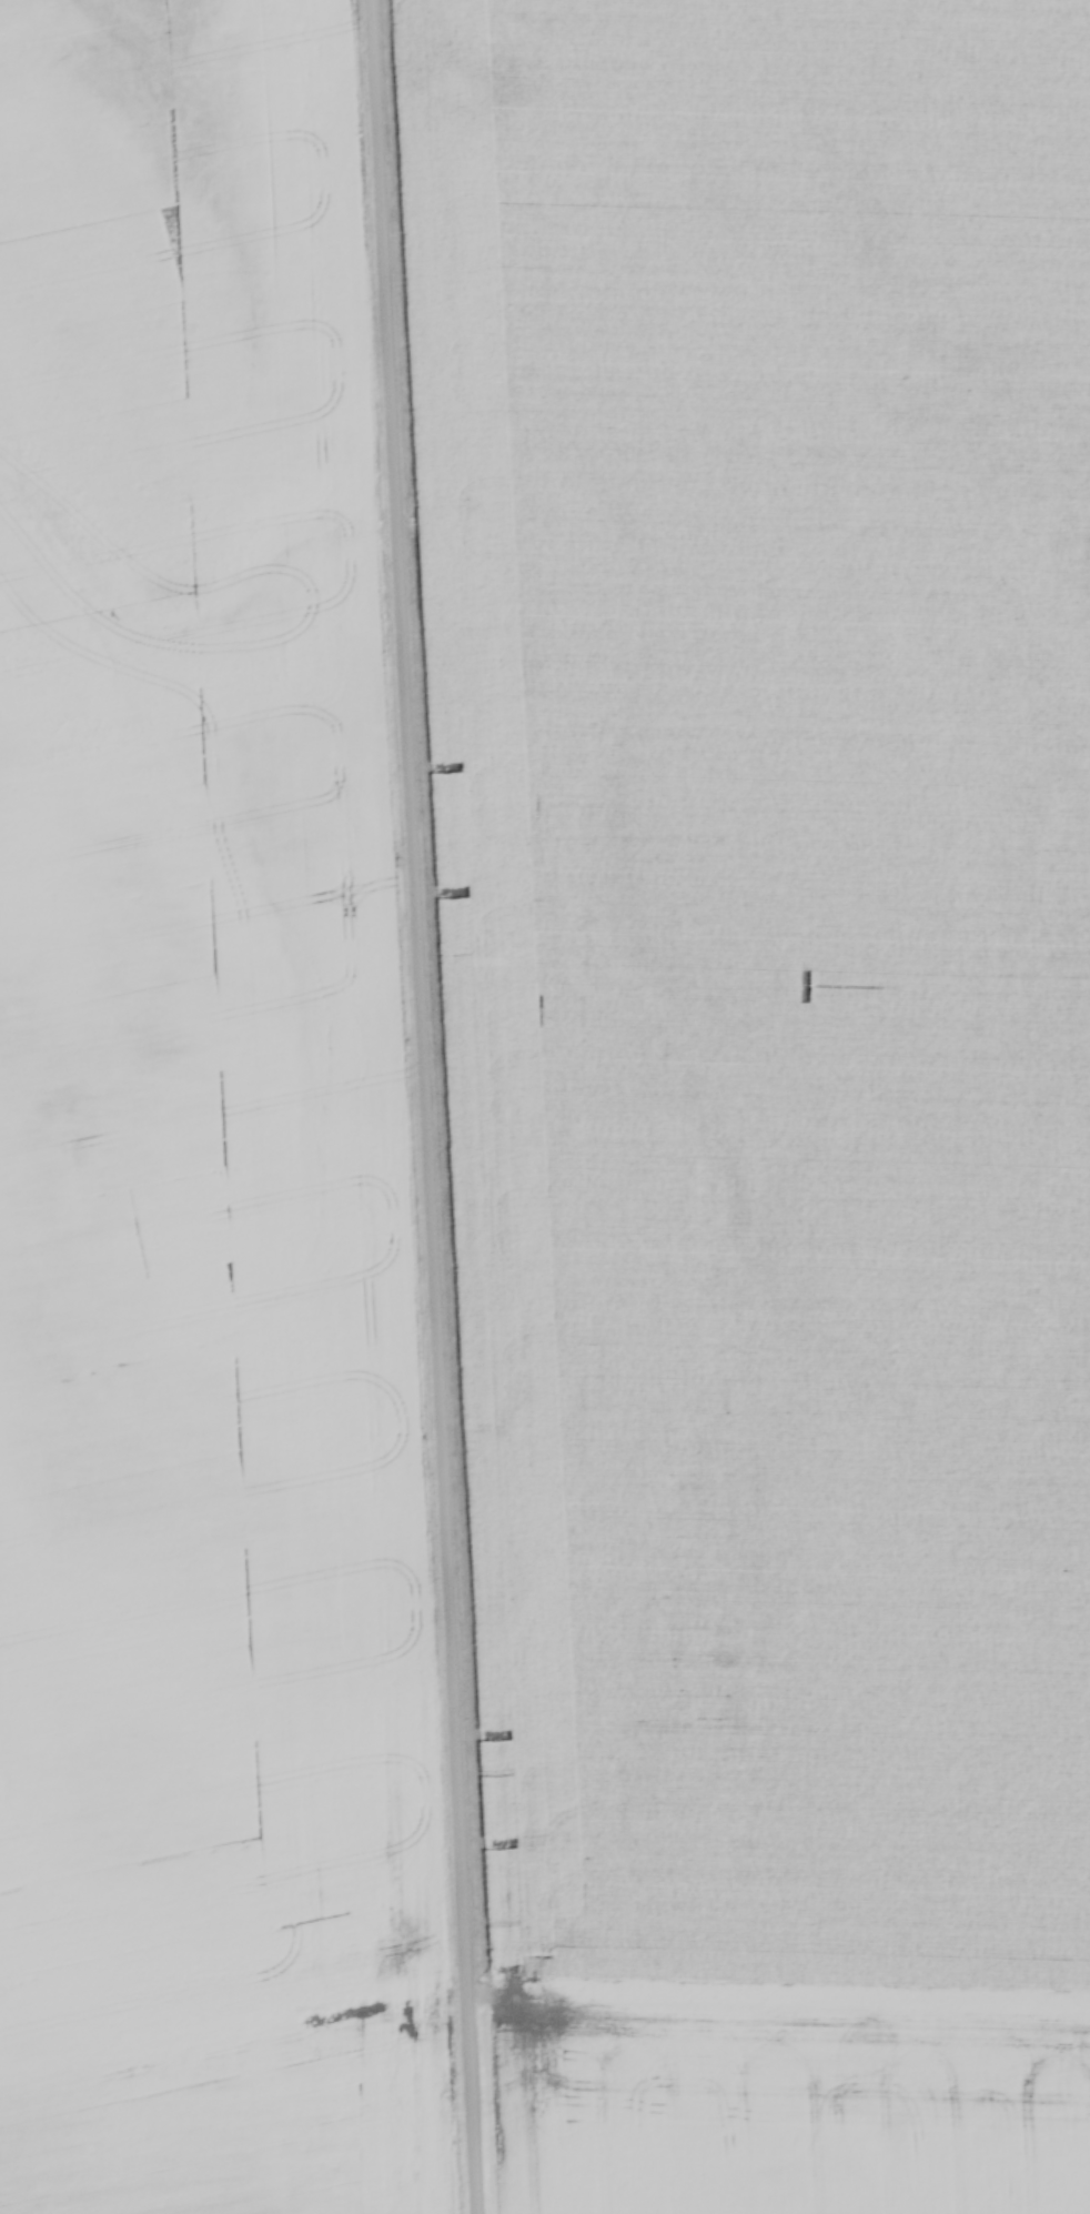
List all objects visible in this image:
road: (423, 1106)

